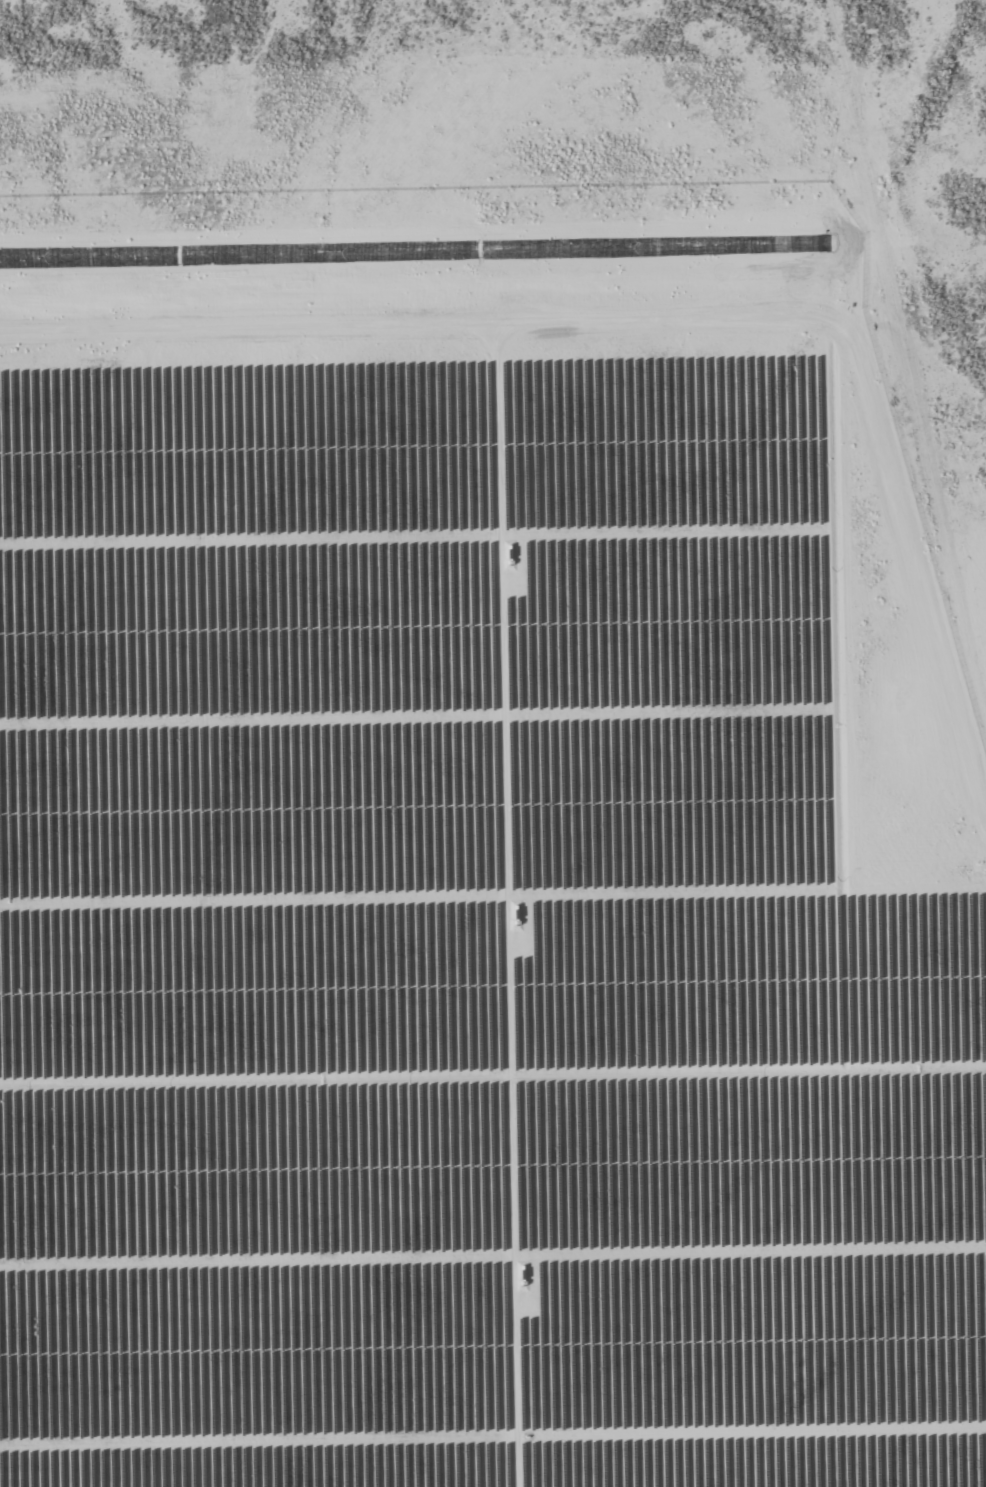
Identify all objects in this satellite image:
road: (281, 1062)

